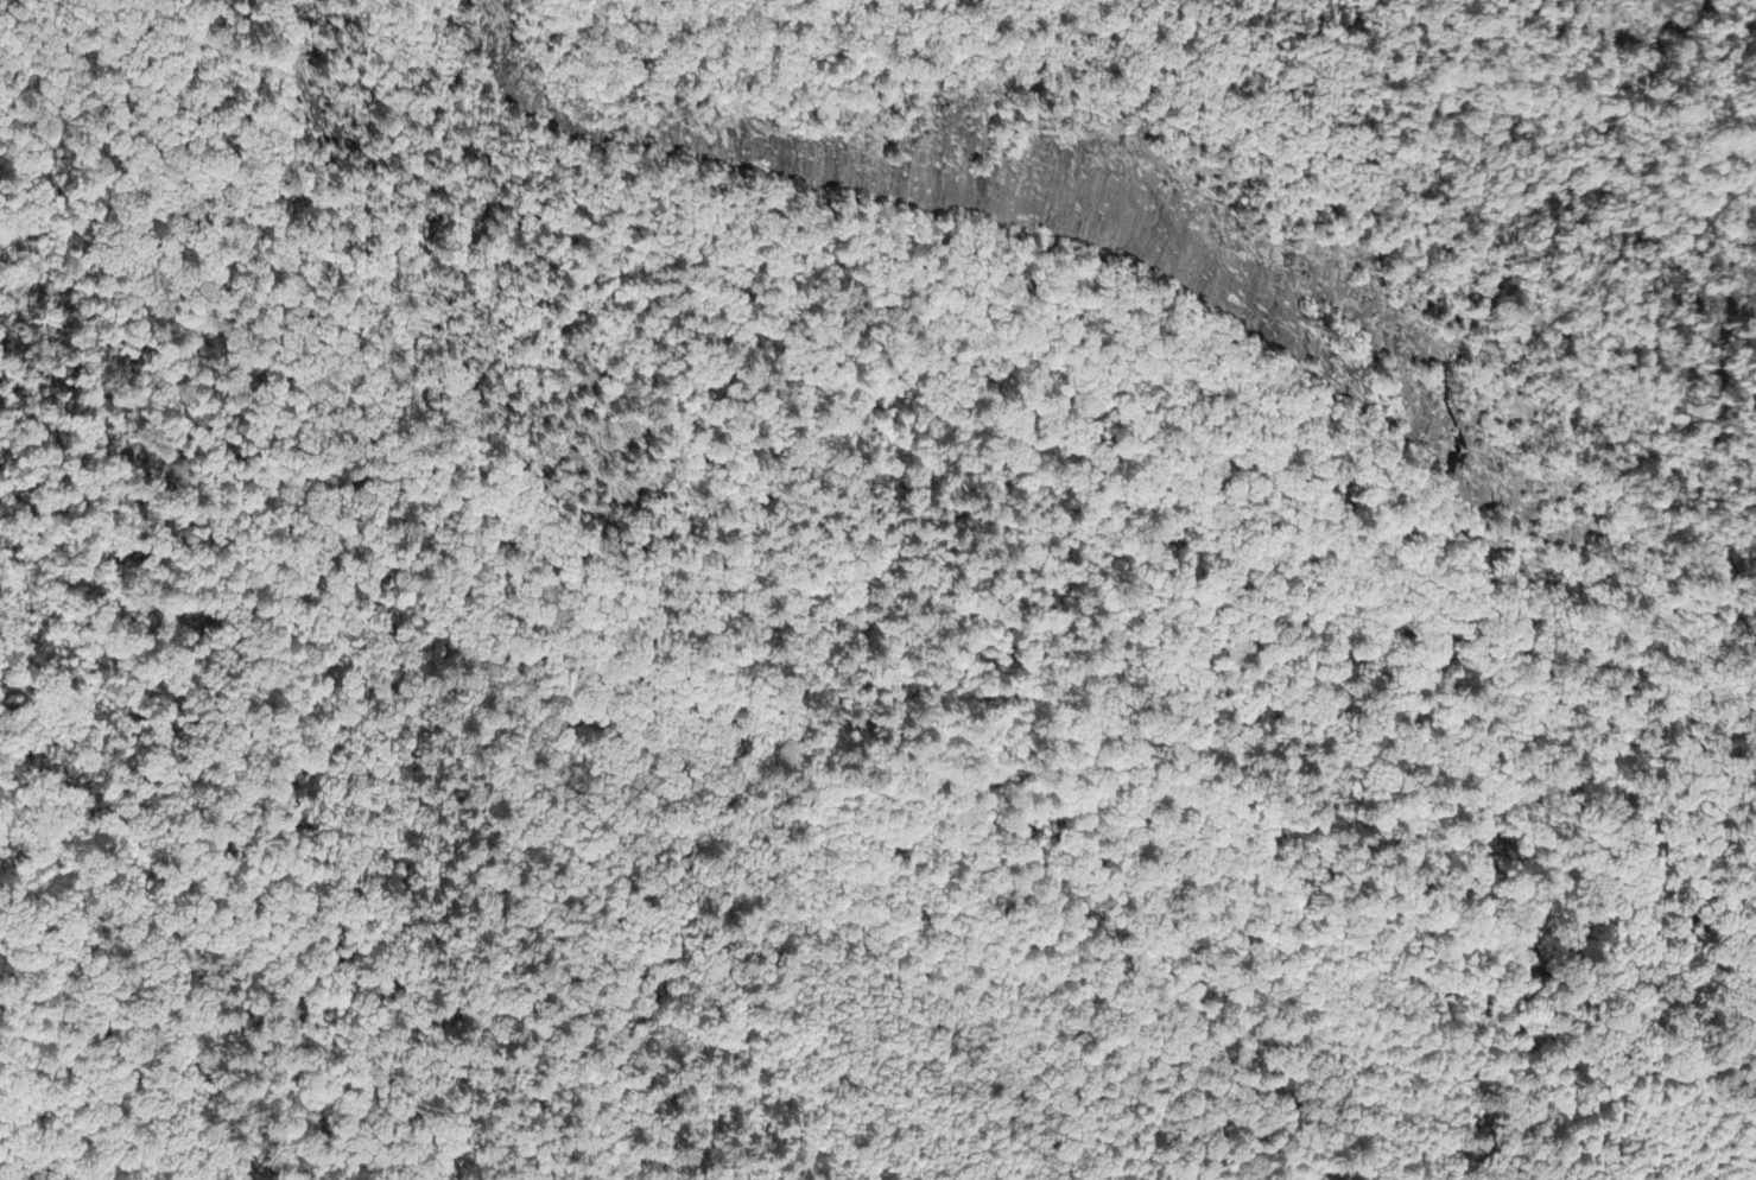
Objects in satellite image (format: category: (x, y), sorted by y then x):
road: (1358, 1171)

